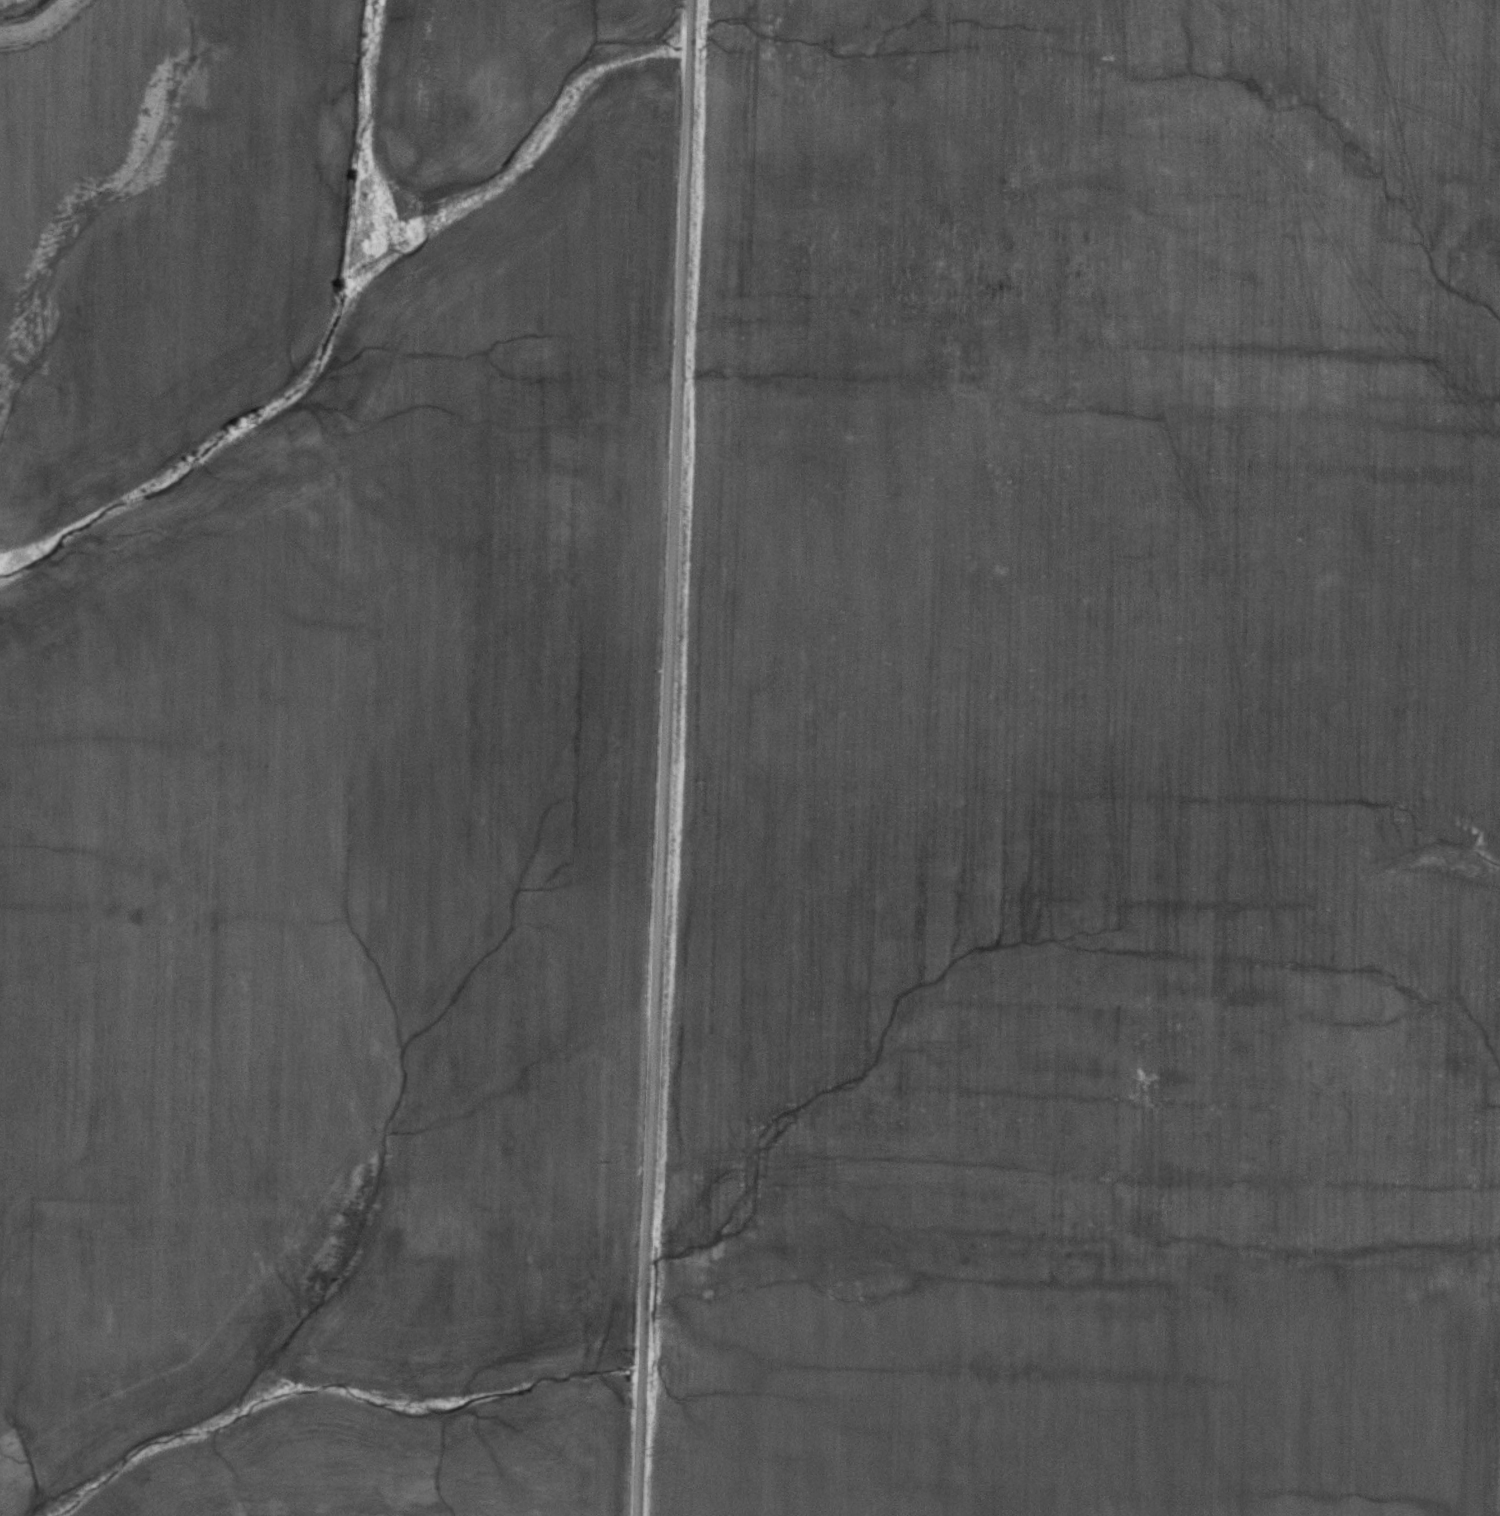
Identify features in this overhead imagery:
road: (666, 758)

